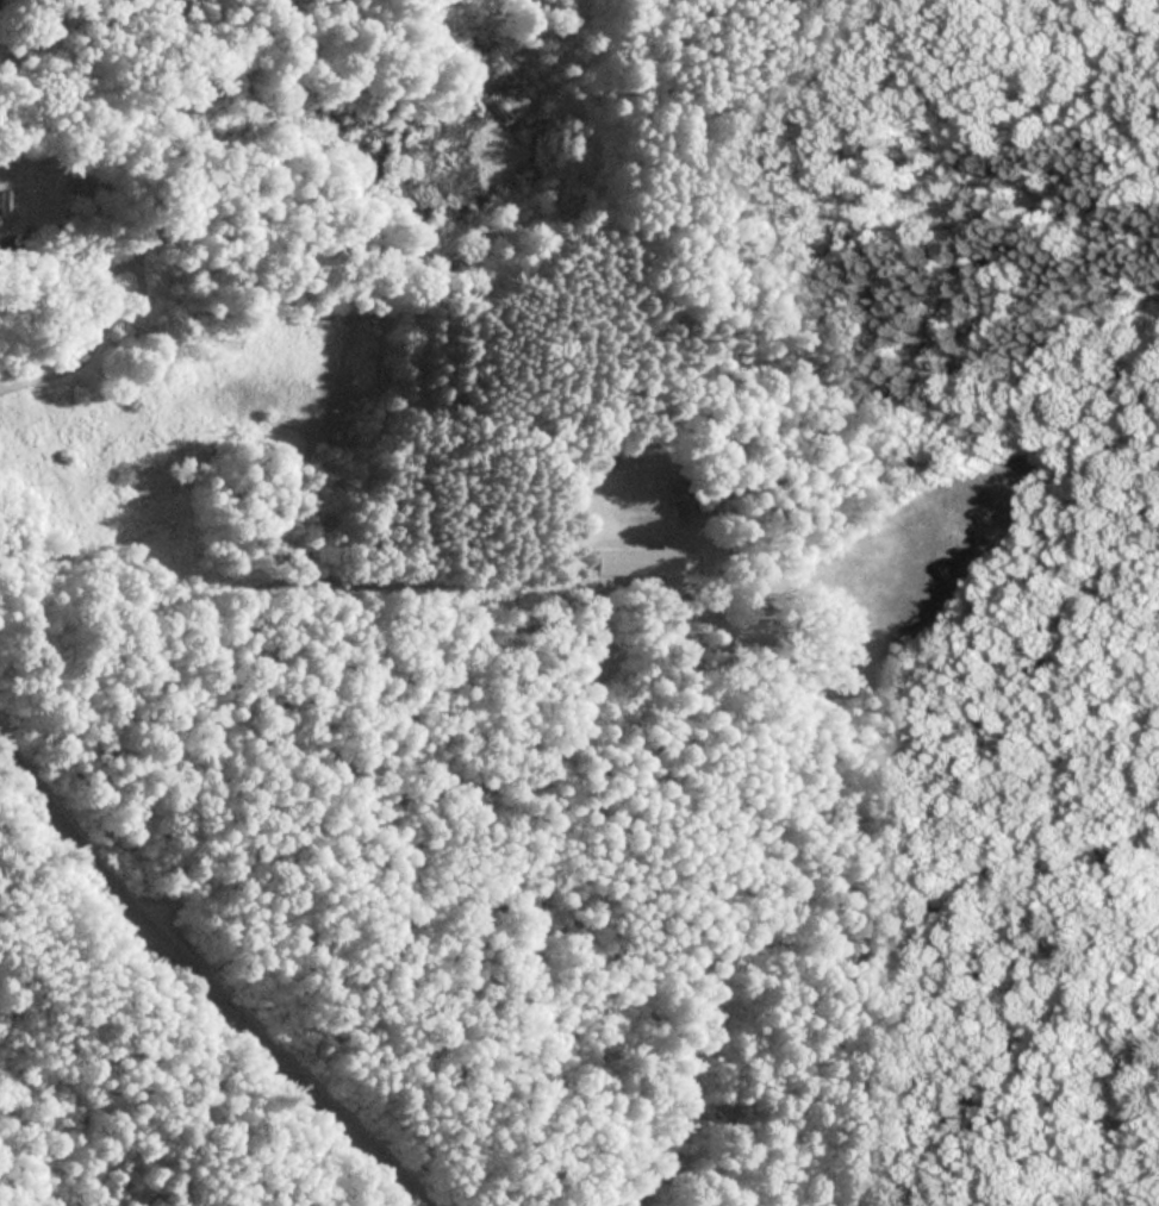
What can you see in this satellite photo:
building: (597, 461)
building: (680, 498)
building: (638, 562)
park: (581, 605)
road: (194, 988)

